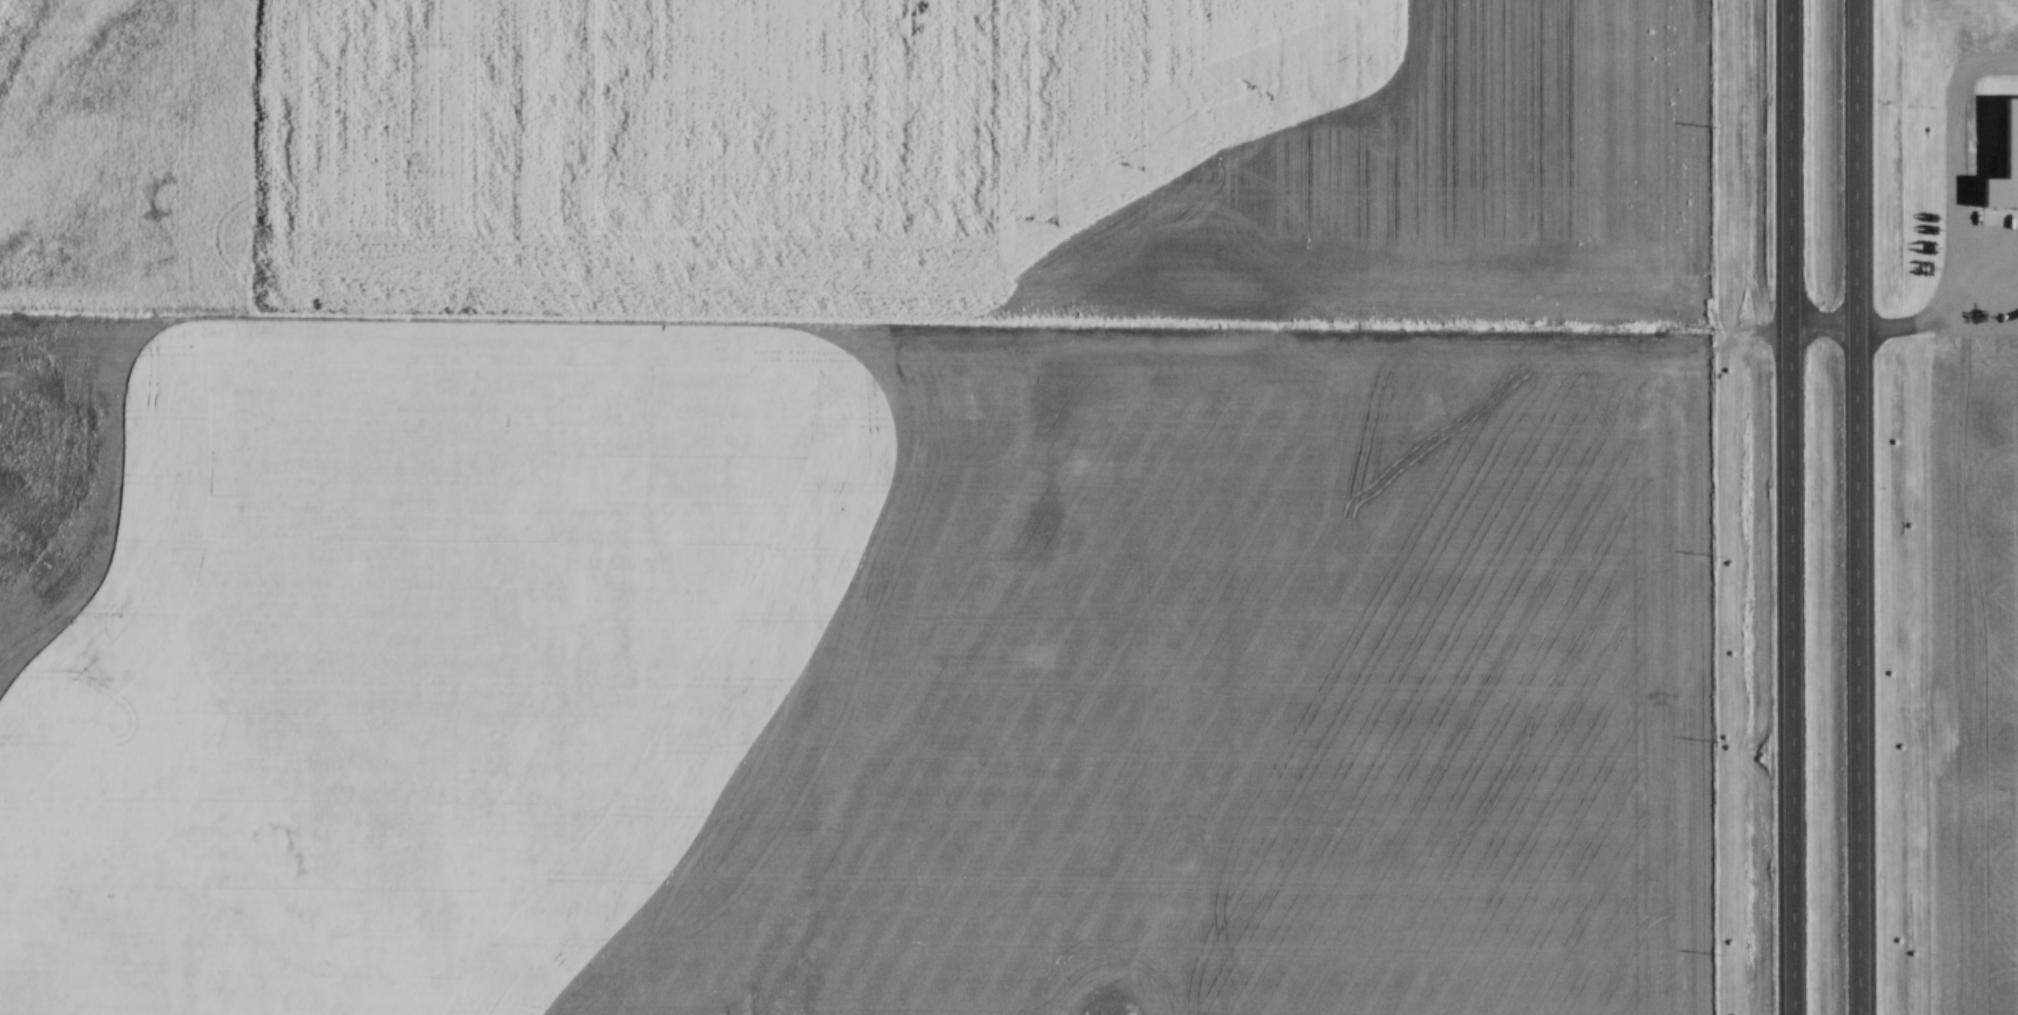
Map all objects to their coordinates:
building: (1999, 142)
road: (1787, 507)
road: (1856, 507)

